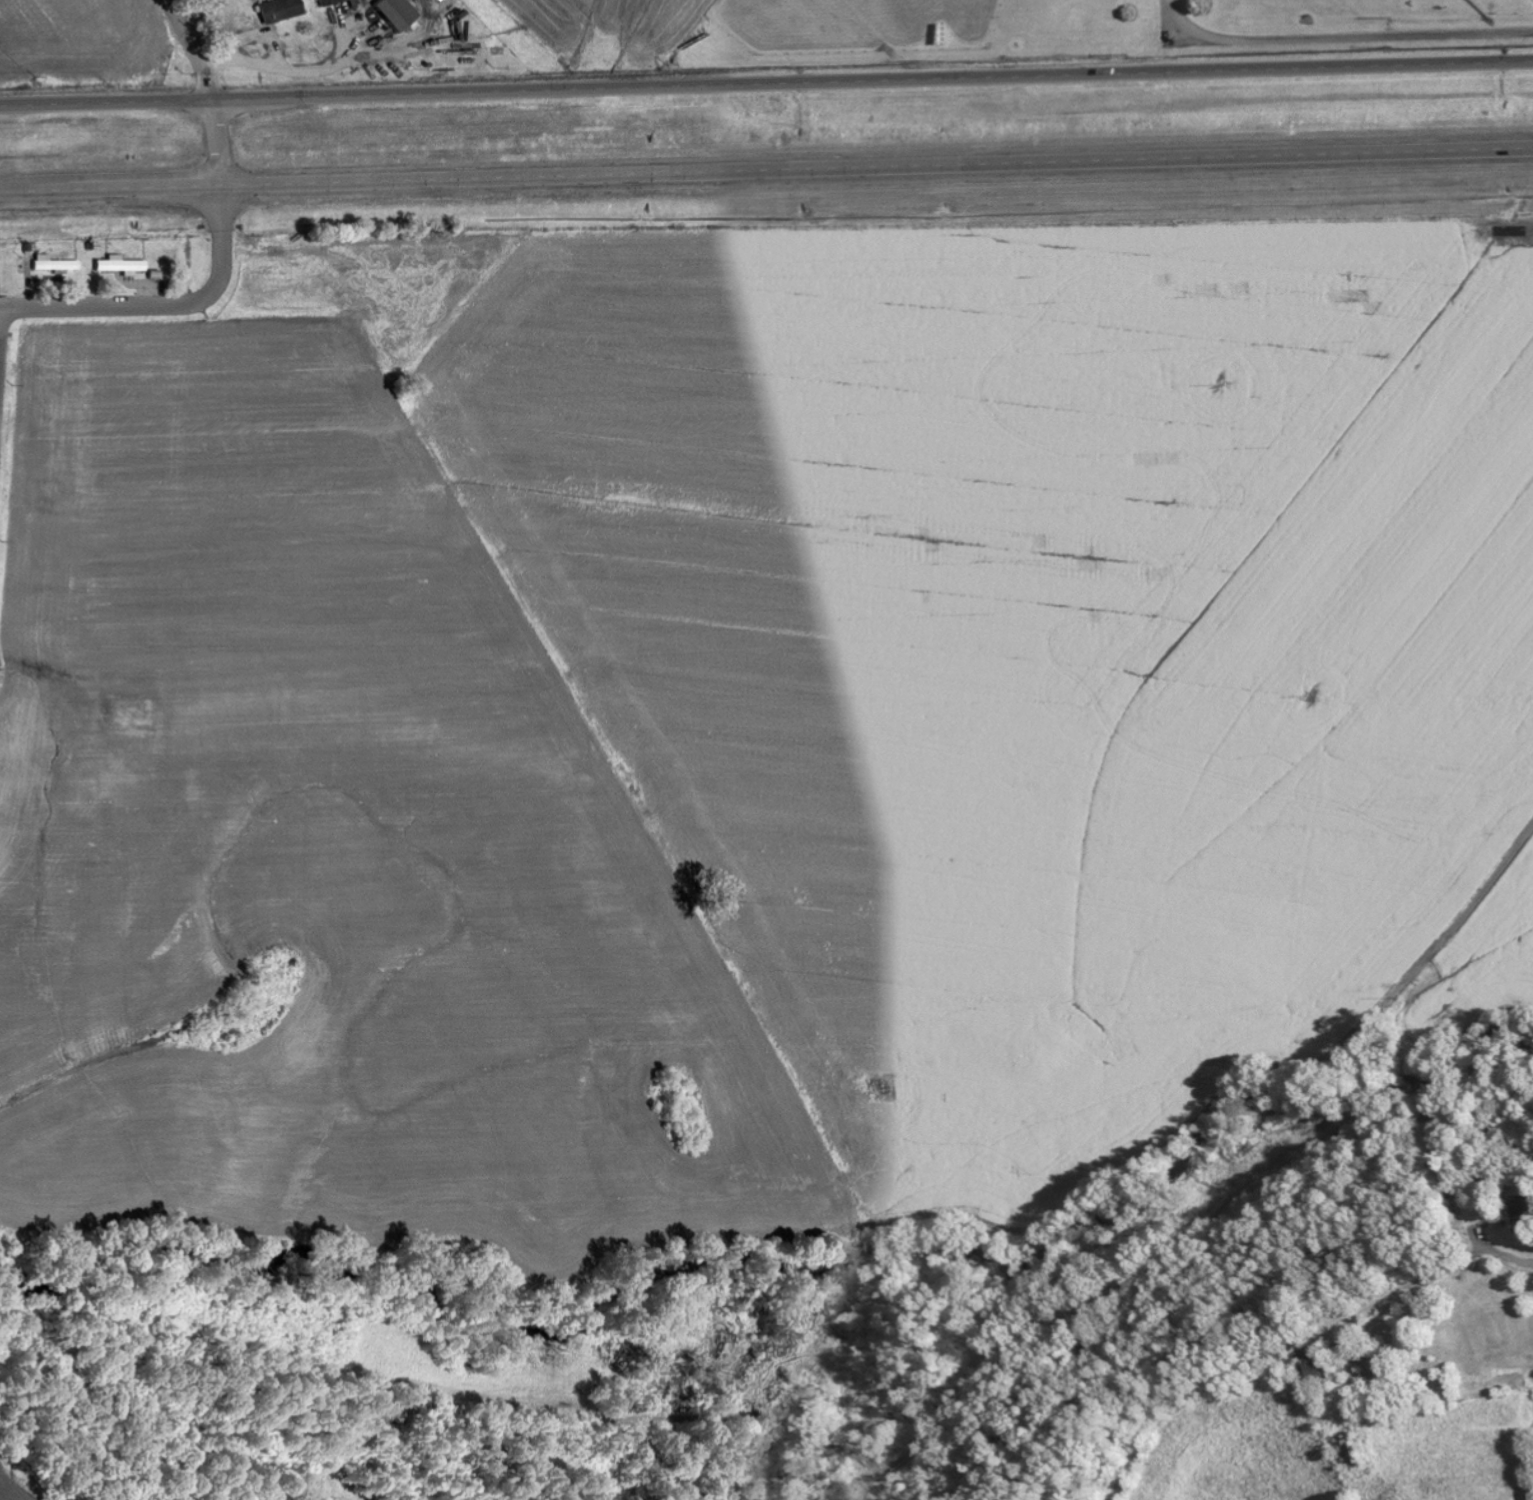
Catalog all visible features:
building: (329, 1)
building: (279, 10)
building: (394, 12)
road: (1174, 35)
road: (198, 48)
road: (766, 81)
road: (222, 142)
road: (766, 173)
road: (1519, 232)
building: (53, 263)
building: (119, 265)
road: (161, 309)
road: (6, 389)
road: (0, 458)
road: (1440, 973)
road: (1446, 1121)
building: (1524, 1213)
road: (1406, 1292)

